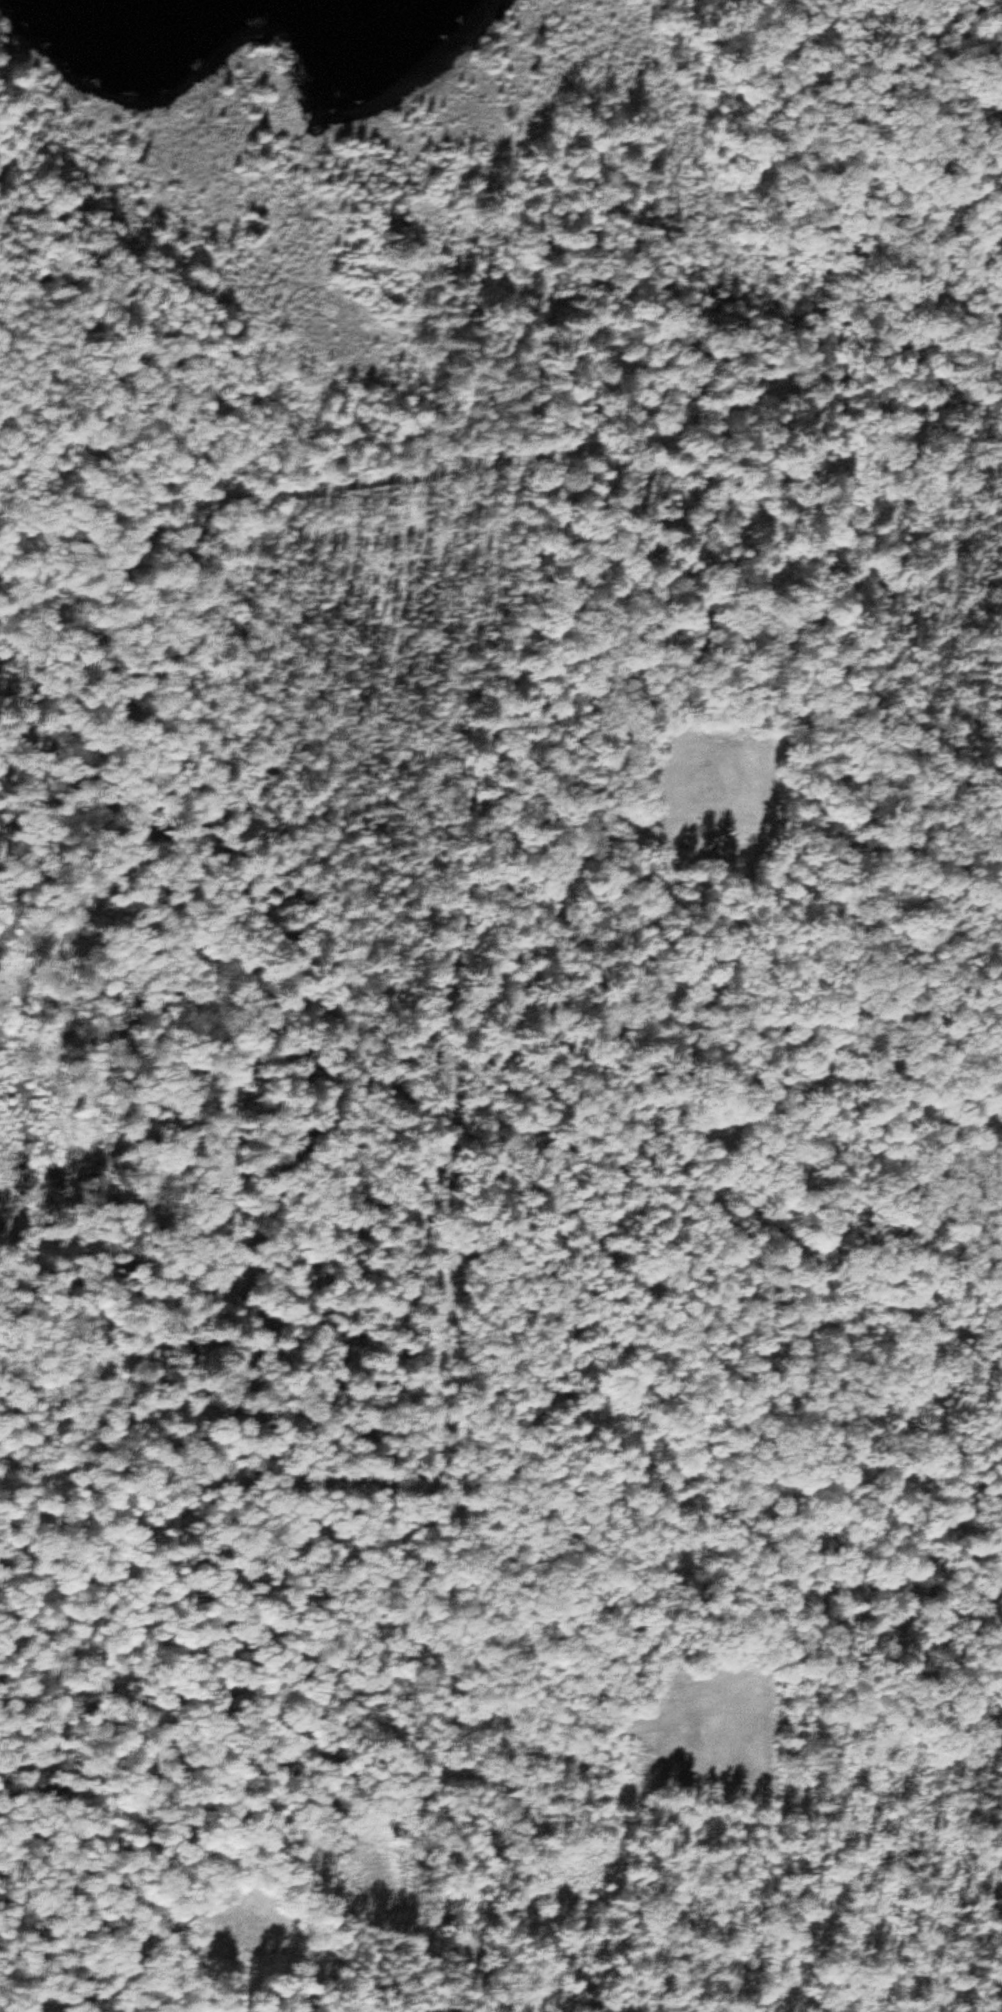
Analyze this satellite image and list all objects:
road: (496, 457)
petroleum well: (693, 786)
road: (984, 1451)
road: (124, 1641)
petroleum well: (690, 1737)
road: (986, 1941)

